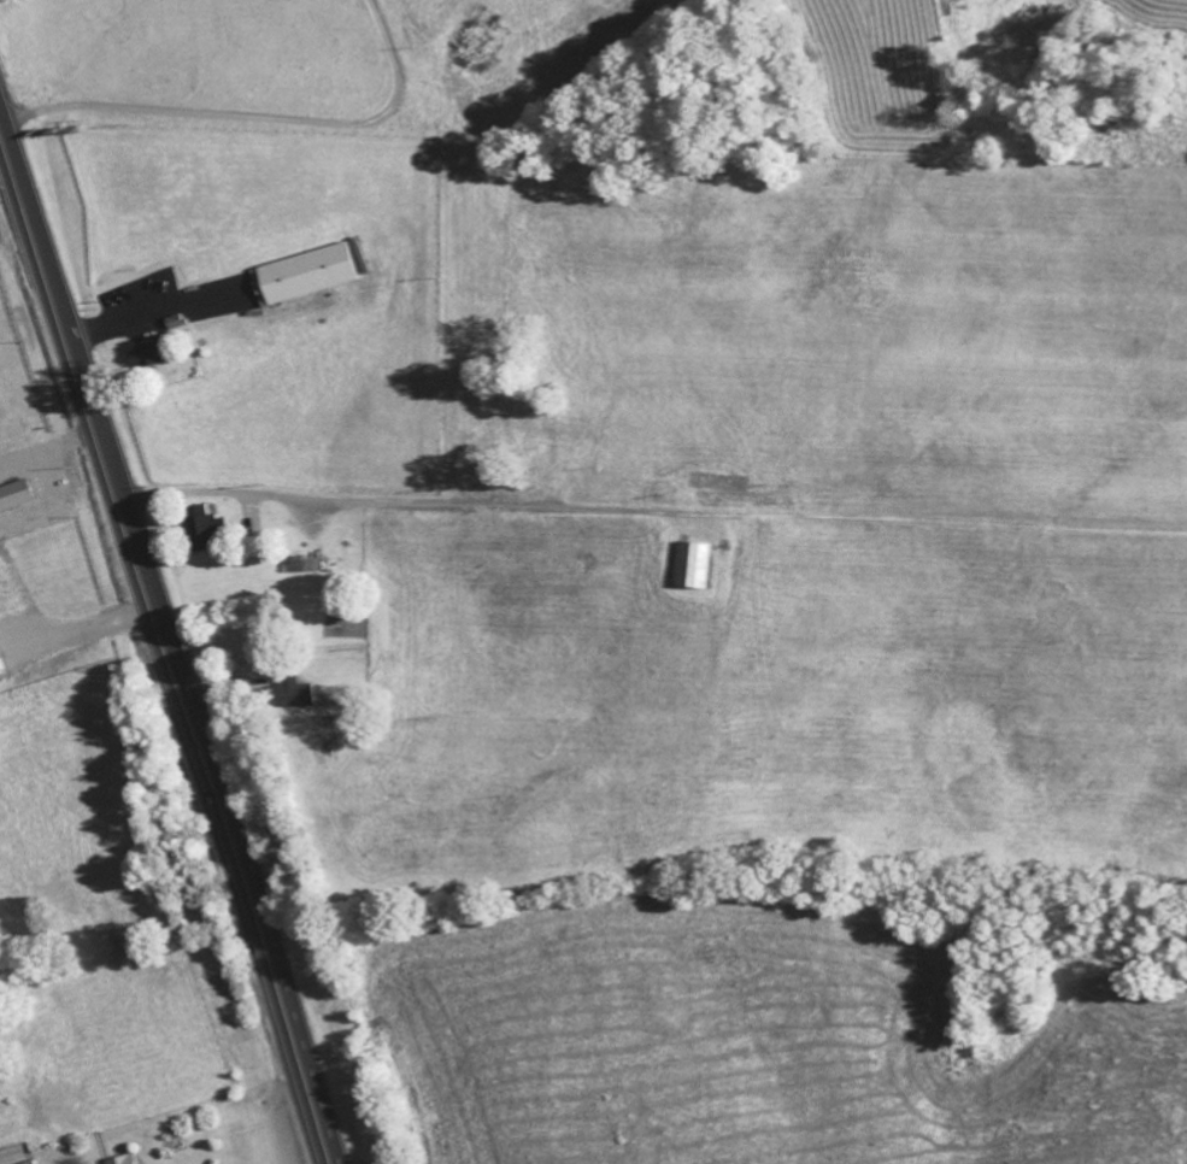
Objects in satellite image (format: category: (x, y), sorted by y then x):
road: (254, 117)
building: (316, 274)
building: (158, 354)
road: (349, 502)
building: (204, 525)
building: (693, 563)
building: (306, 564)
road: (169, 642)
building: (1, 668)
building: (298, 690)
building: (122, 1159)

